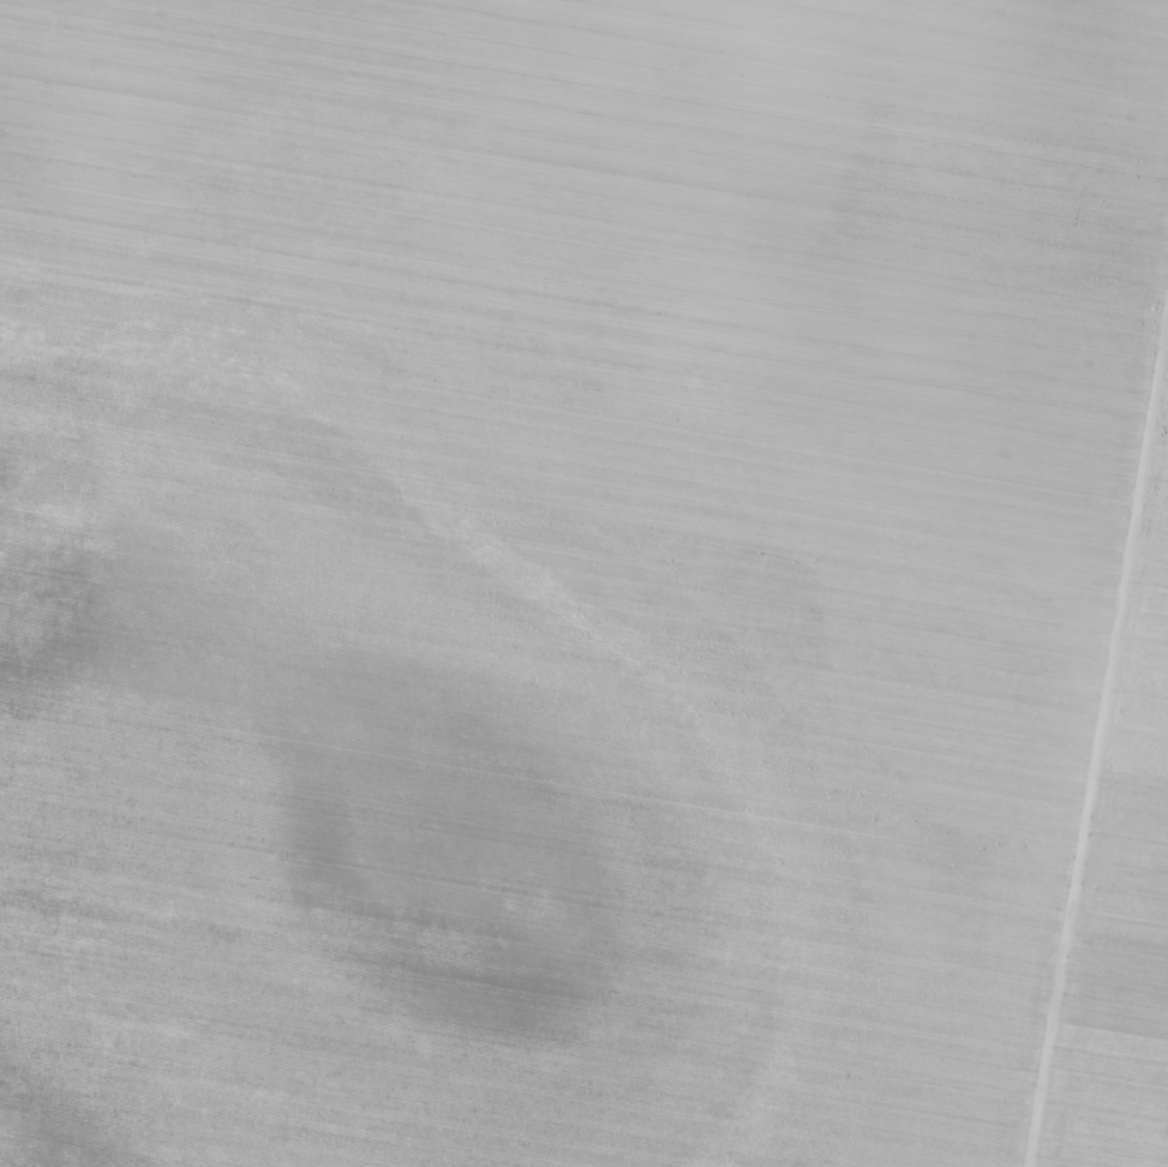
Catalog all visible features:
road: (1092, 731)

